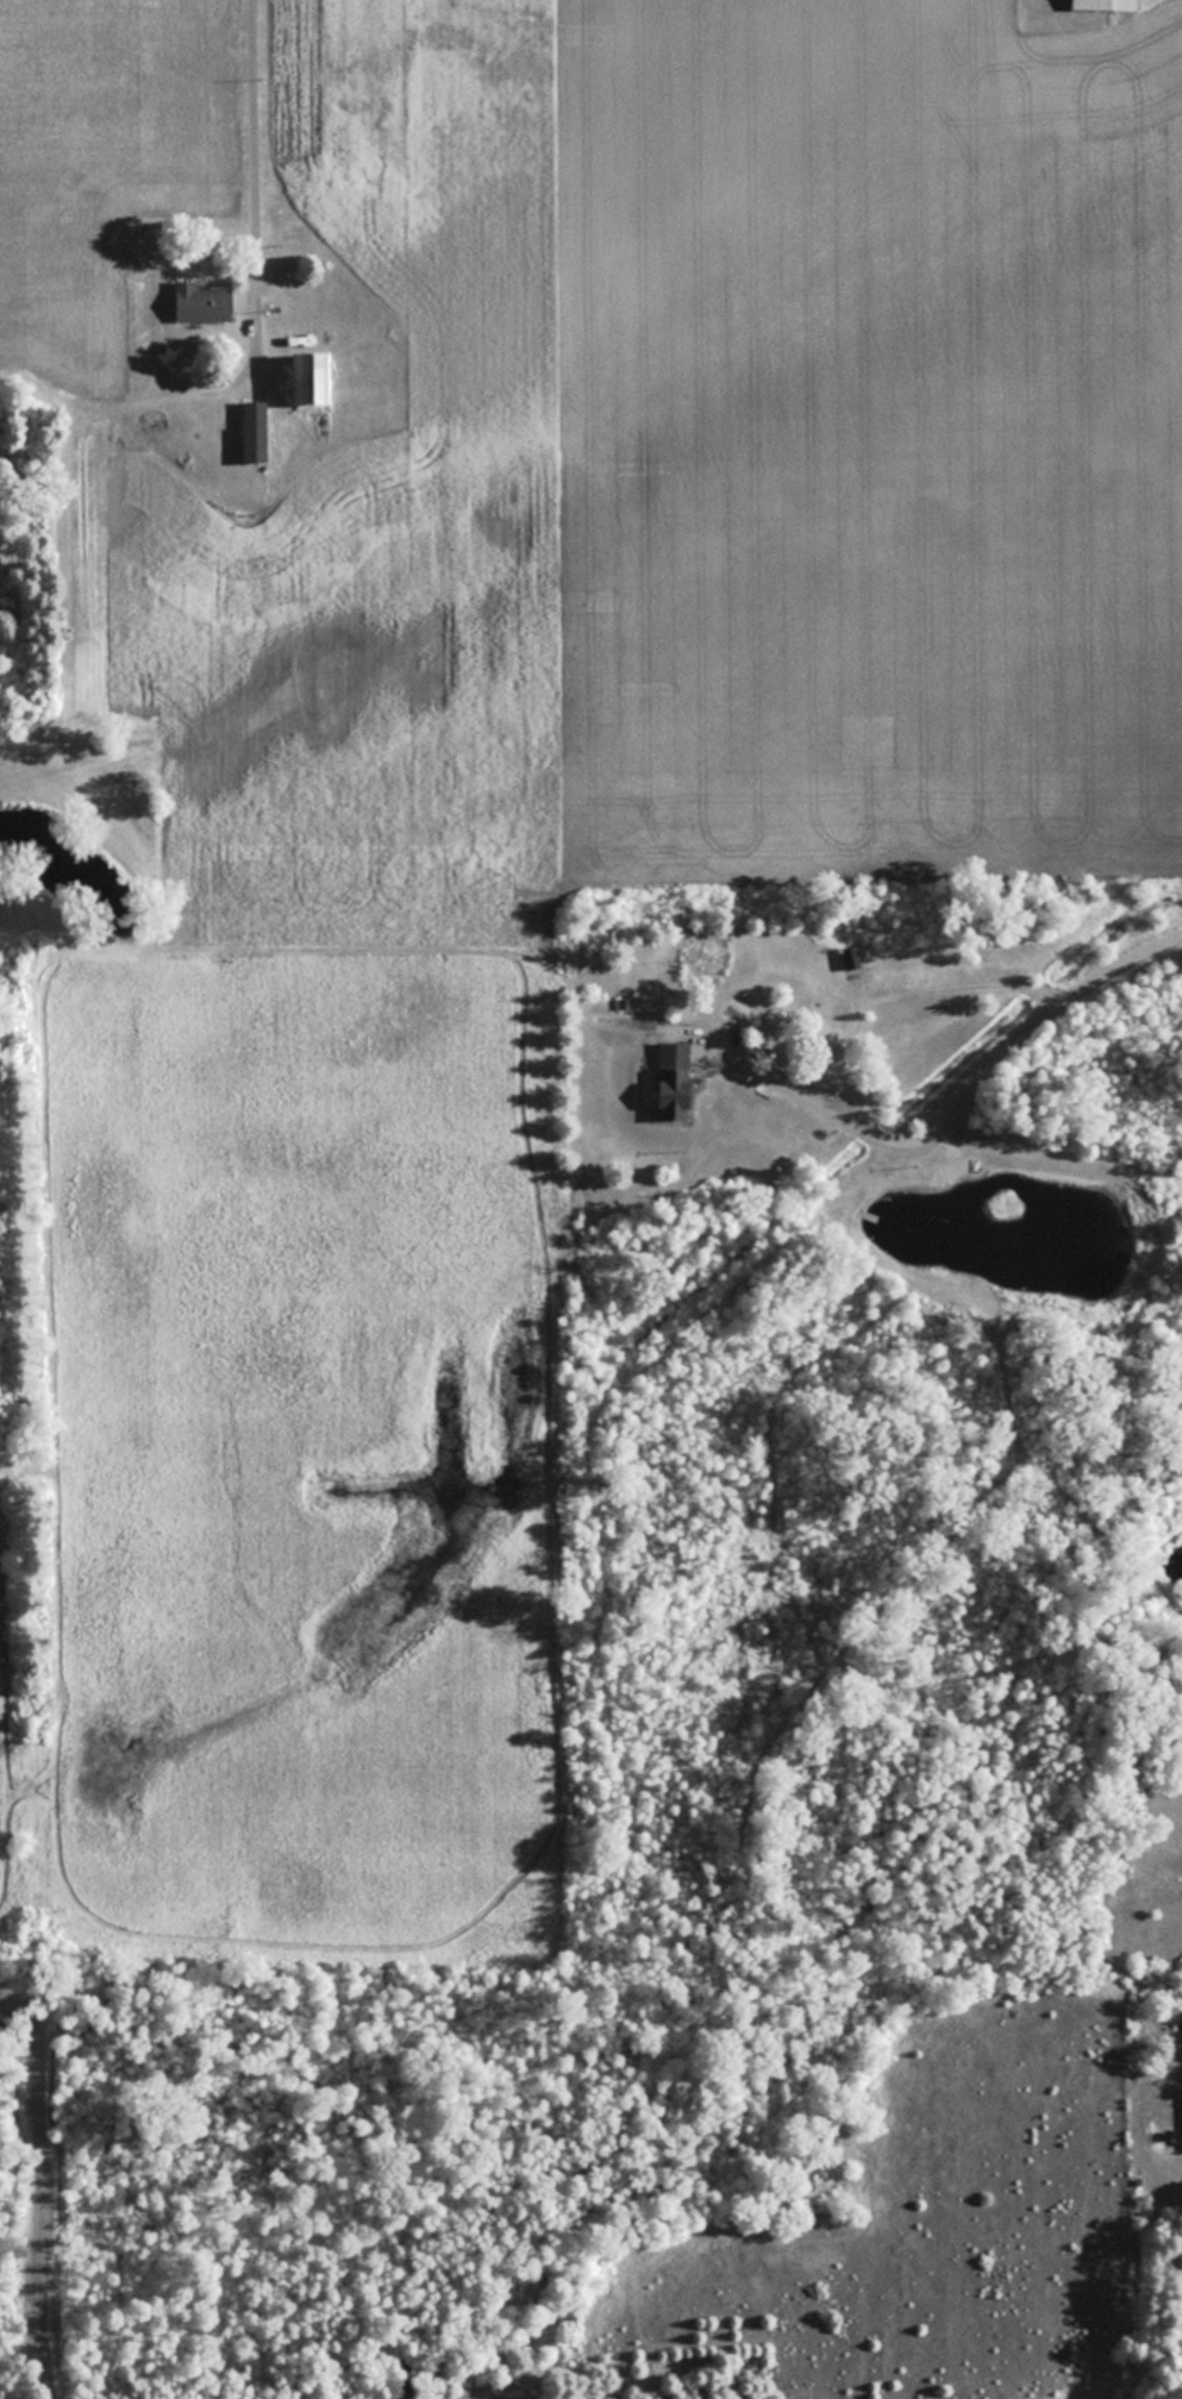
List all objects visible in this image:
building: (1103, 5)
building: (202, 302)
building: (314, 377)
building: (257, 431)
building: (850, 957)
road: (1122, 959)
building: (675, 1081)
road: (851, 1097)

